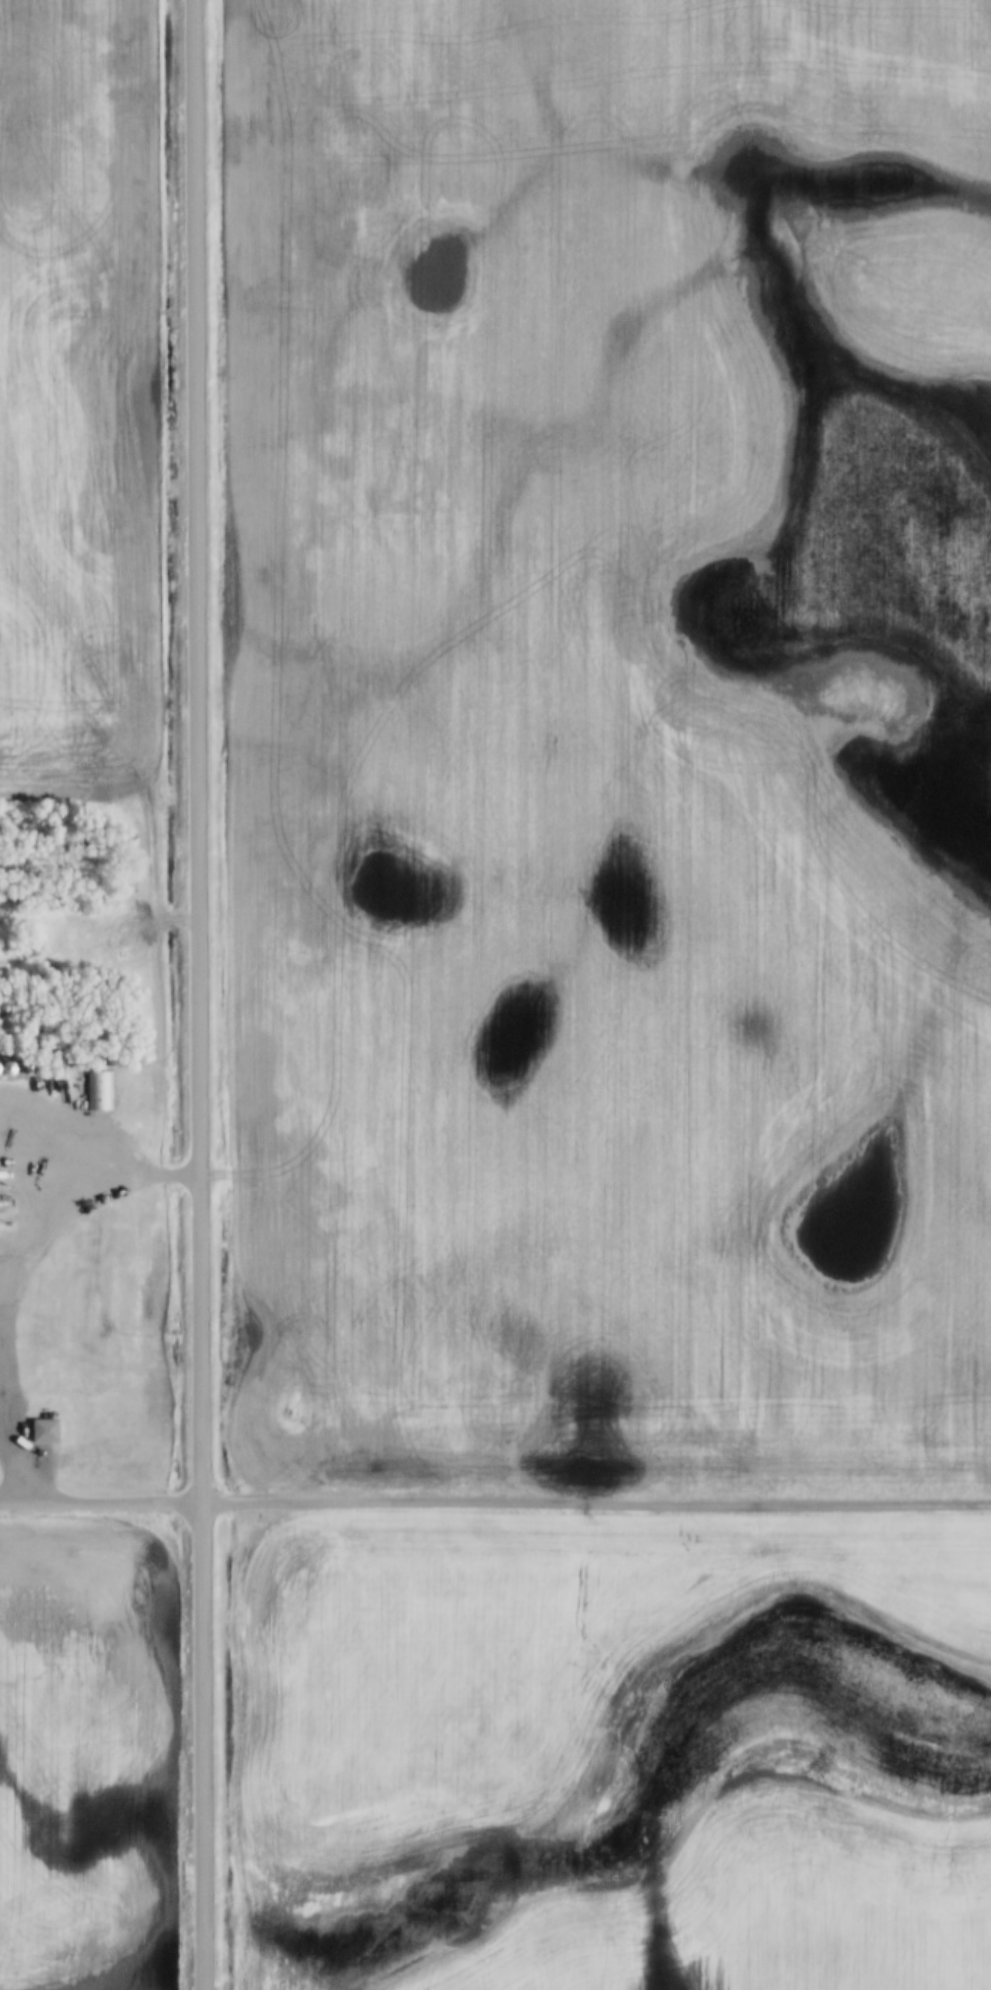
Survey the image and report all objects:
road: (198, 994)
building: (0, 1070)
silo: (0, 1070)
building: (9, 1070)
silo: (9, 1070)
building: (25, 1070)
silo: (25, 1070)
building: (101, 1091)
road: (73, 1197)
building: (3, 1201)
building: (48, 1430)
road: (7, 1479)
road: (100, 1501)
road: (595, 1503)

